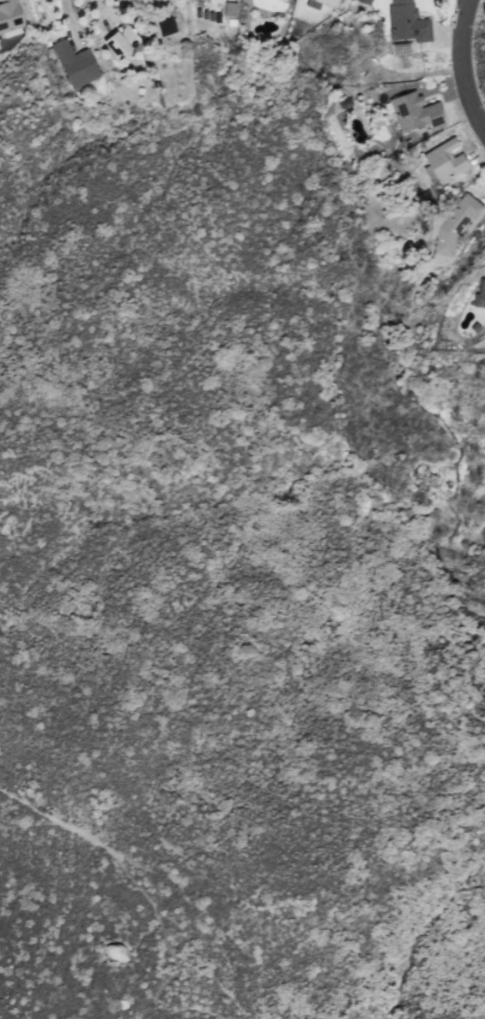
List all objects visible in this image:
building: (365, 1)
building: (315, 3)
building: (229, 8)
road: (100, 11)
building: (9, 15)
road: (69, 18)
building: (406, 21)
building: (123, 38)
building: (74, 63)
road: (461, 66)
building: (412, 108)
building: (444, 159)
building: (453, 222)
building: (479, 293)

